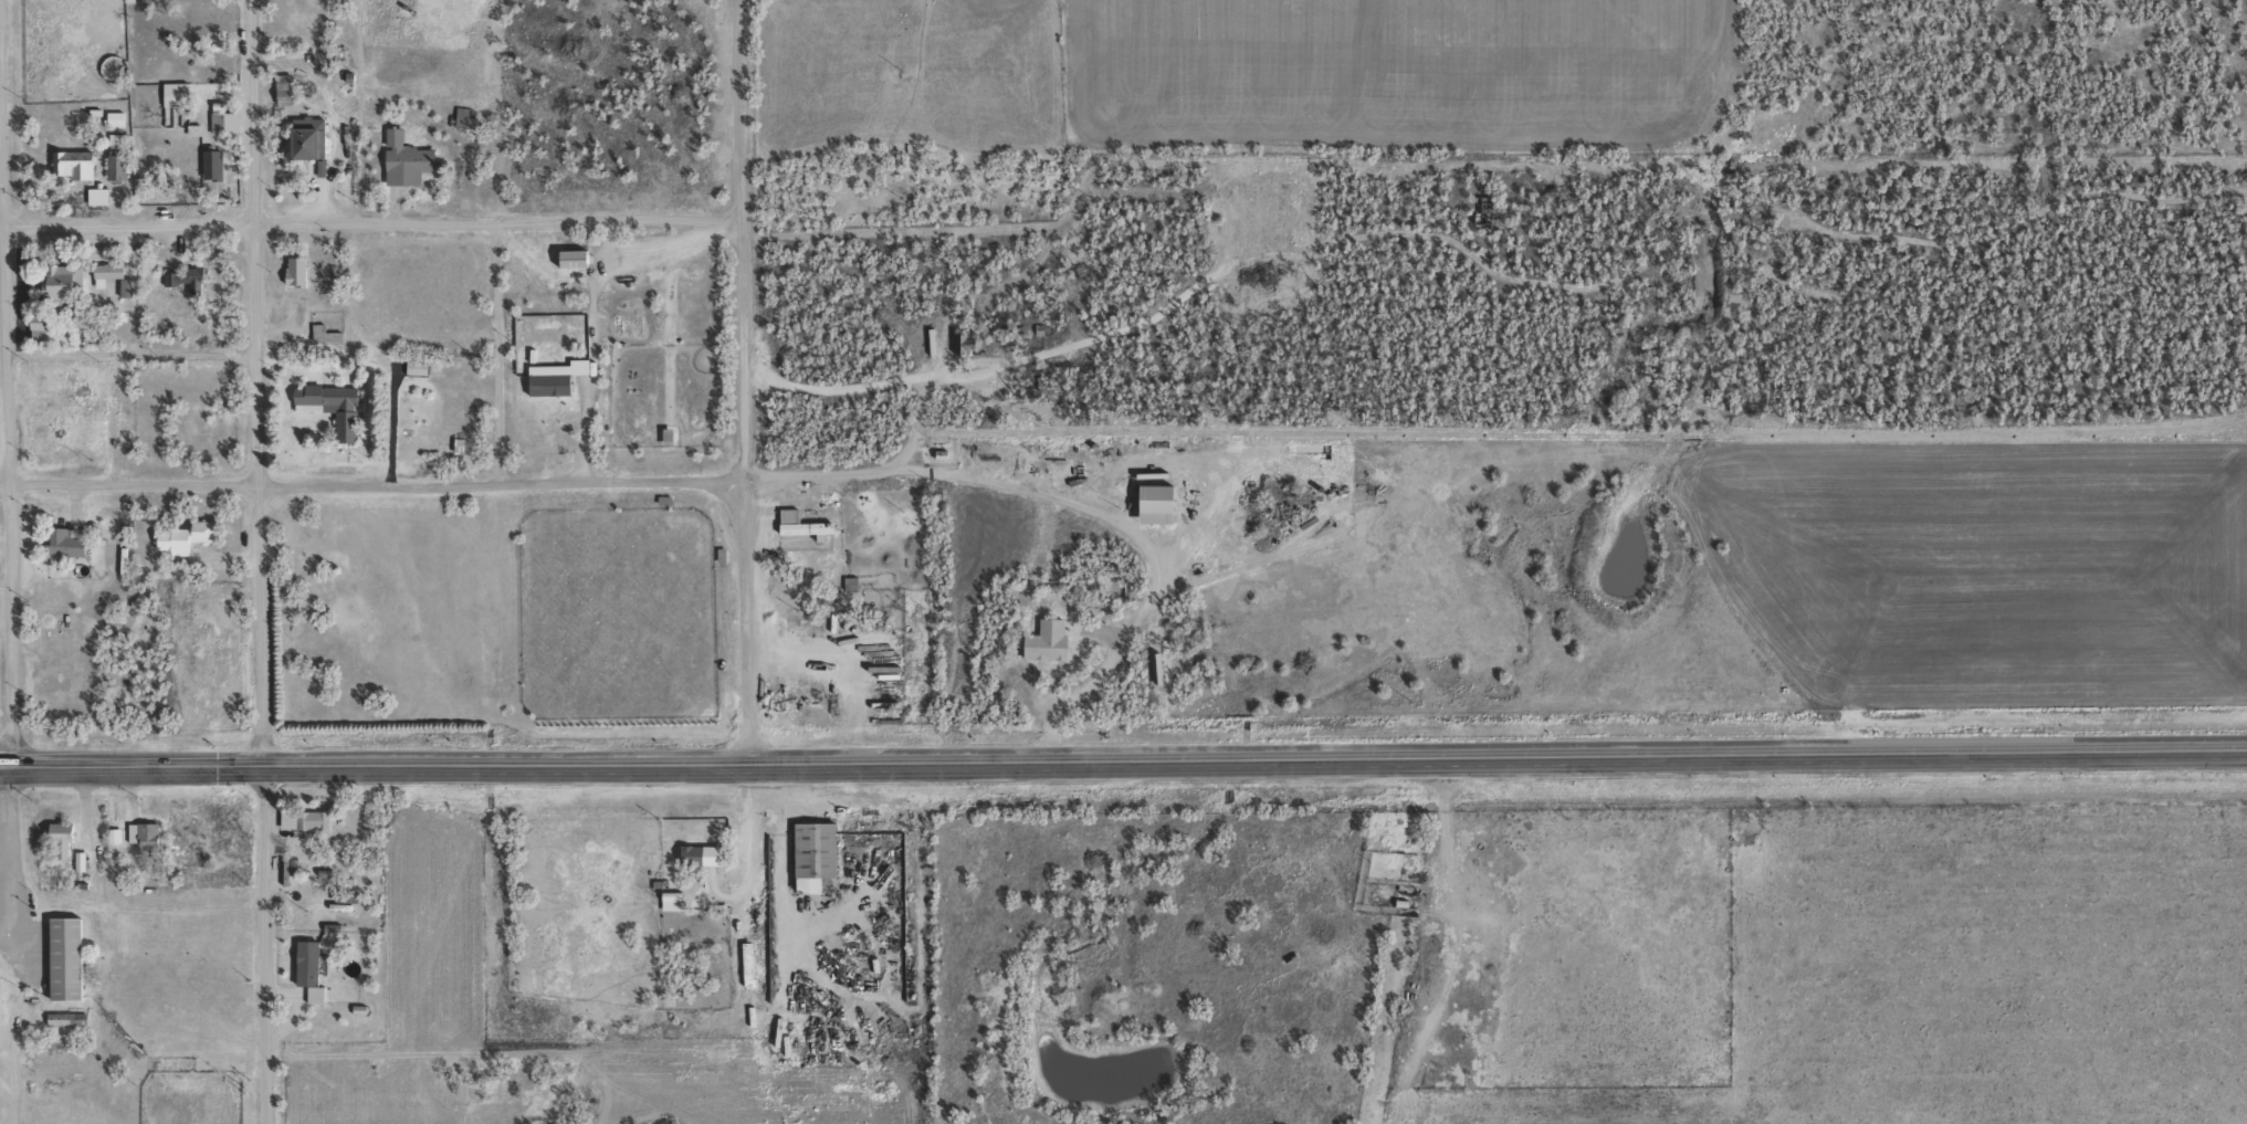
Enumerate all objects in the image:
building: (290, 87)
building: (181, 92)
building: (350, 101)
building: (468, 114)
building: (120, 116)
building: (222, 116)
building: (461, 118)
building: (214, 122)
building: (198, 128)
building: (314, 135)
building: (119, 138)
building: (411, 157)
building: (83, 162)
building: (218, 162)
building: (108, 167)
building: (104, 193)
road: (367, 223)
road: (251, 244)
building: (578, 254)
building: (302, 267)
building: (293, 272)
building: (123, 273)
building: (66, 275)
building: (193, 275)
building: (109, 277)
building: (57, 325)
building: (324, 329)
building: (960, 343)
road: (129, 353)
road: (498, 353)
building: (421, 366)
road: (737, 380)
building: (555, 382)
building: (87, 396)
building: (337, 402)
building: (107, 406)
building: (464, 443)
road: (10, 447)
road: (369, 486)
building: (1163, 501)
building: (798, 525)
building: (211, 527)
building: (177, 536)
building: (71, 540)
road: (258, 628)
building: (1051, 638)
road: (1583, 755)
road: (460, 765)
building: (308, 816)
building: (149, 832)
building: (118, 833)
building: (66, 836)
building: (56, 839)
building: (695, 853)
building: (821, 854)
building: (240, 858)
building: (85, 859)
building: (319, 864)
building: (351, 893)
building: (343, 899)
road: (264, 945)
building: (73, 955)
building: (313, 960)
building: (752, 964)
building: (294, 980)
building: (321, 992)
building: (63, 1018)
park: (188, 1097)

